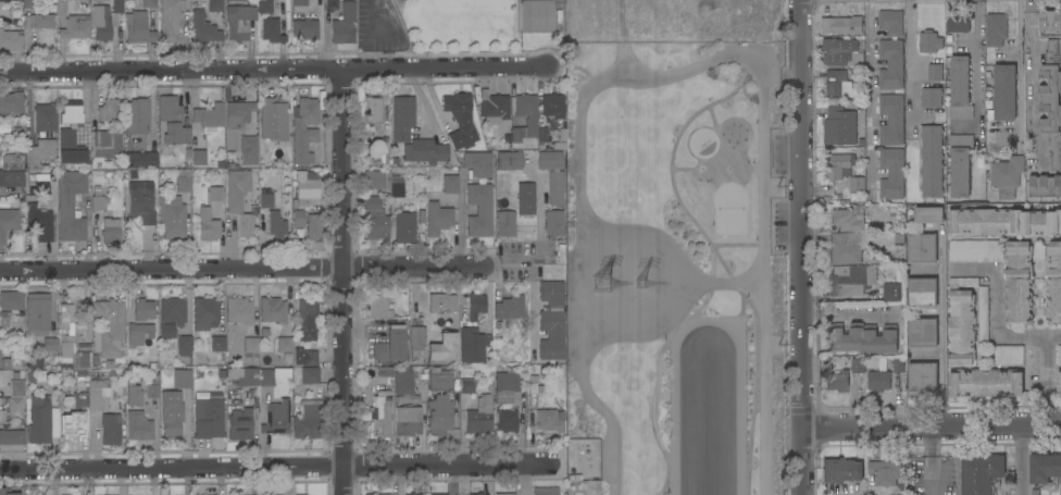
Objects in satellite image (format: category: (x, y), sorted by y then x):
building: (84, 0)
building: (61, 1)
building: (229, 2)
building: (30, 3)
building: (148, 3)
building: (332, 4)
building: (215, 5)
building: (264, 5)
building: (117, 7)
building: (299, 9)
building: (536, 15)
building: (692, 16)
building: (171, 18)
road: (375, 18)
building: (38, 21)
building: (1050, 21)
building: (239, 22)
building: (76, 23)
building: (890, 23)
building: (958, 23)
building: (344, 24)
building: (708, 24)
building: (105, 25)
park: (461, 25)
building: (841, 25)
building: (138, 28)
building: (203, 28)
building: (304, 29)
building: (996, 29)
building: (272, 30)
building: (10, 40)
building: (928, 42)
building: (838, 51)
road: (626, 58)
building: (890, 64)
road: (576, 65)
road: (447, 67)
road: (911, 69)
road: (171, 70)
road: (777, 70)
road: (1021, 72)
road: (978, 73)
road: (597, 84)
building: (839, 87)
building: (933, 88)
building: (960, 89)
building: (1004, 92)
road: (869, 97)
building: (1051, 102)
building: (11, 103)
building: (552, 106)
building: (492, 108)
building: (373, 110)
building: (108, 111)
building: (238, 113)
building: (45, 117)
building: (209, 117)
building: (402, 117)
building: (523, 119)
building: (273, 120)
building: (891, 120)
building: (461, 122)
building: (171, 123)
building: (839, 126)
building: (303, 129)
road: (715, 129)
building: (70, 134)
building: (138, 135)
building: (539, 137)
building: (107, 144)
building: (249, 150)
building: (425, 151)
building: (39, 154)
building: (199, 158)
building: (550, 160)
road: (701, 160)
building: (509, 161)
building: (932, 161)
building: (477, 163)
building: (959, 165)
road: (671, 166)
building: (840, 166)
road: (683, 169)
road: (712, 170)
road: (714, 172)
building: (891, 174)
building: (1006, 176)
building: (11, 178)
building: (374, 180)
building: (184, 181)
building: (450, 184)
building: (857, 184)
building: (39, 185)
building: (1045, 186)
building: (396, 187)
building: (305, 188)
building: (557, 188)
building: (237, 189)
building: (215, 194)
building: (264, 198)
building: (526, 198)
building: (98, 200)
building: (141, 201)
building: (71, 206)
building: (479, 209)
park: (729, 209)
building: (928, 215)
building: (172, 218)
building: (298, 219)
building: (374, 219)
building: (438, 219)
building: (9, 220)
building: (39, 221)
building: (847, 221)
building: (505, 223)
building: (553, 223)
building: (1003, 223)
building: (276, 224)
building: (245, 225)
building: (208, 226)
building: (313, 226)
building: (404, 227)
building: (110, 231)
building: (898, 238)
road: (737, 245)
road: (799, 247)
building: (847, 247)
building: (922, 248)
building: (975, 251)
road: (712, 264)
road: (629, 265)
road: (415, 268)
road: (971, 268)
road: (172, 269)
park: (673, 269)
building: (850, 280)
road: (345, 282)
road: (764, 282)
building: (1053, 282)
building: (963, 283)
building: (1019, 283)
power tower: (607, 284)
power tower: (650, 284)
road: (721, 285)
road: (581, 289)
building: (891, 293)
building: (922, 293)
road: (998, 299)
building: (11, 300)
building: (442, 302)
building: (475, 306)
building: (378, 307)
road: (741, 308)
building: (142, 310)
building: (272, 310)
building: (510, 310)
road: (629, 310)
building: (172, 311)
building: (239, 311)
building: (204, 313)
road: (847, 313)
building: (37, 314)
building: (983, 315)
building: (305, 320)
building: (551, 321)
road: (943, 327)
building: (961, 327)
building: (109, 329)
building: (71, 331)
building: (166, 331)
track: (739, 332)
road: (1029, 332)
building: (139, 333)
building: (922, 333)
building: (863, 338)
building: (416, 341)
building: (217, 344)
building: (284, 344)
building: (50, 345)
building: (184, 345)
building: (390, 345)
building: (472, 346)
building: (251, 347)
building: (444, 347)
building: (0, 351)
building: (0, 355)
building: (1059, 355)
building: (1008, 356)
building: (305, 357)
building: (83, 360)
building: (0, 363)
building: (5, 363)
building: (32, 364)
building: (858, 366)
building: (898, 366)
track: (675, 374)
building: (16, 375)
building: (310, 375)
building: (244, 376)
building: (266, 378)
building: (922, 378)
building: (182, 379)
road: (1037, 380)
building: (439, 381)
building: (466, 381)
building: (878, 381)
building: (838, 382)
building: (403, 383)
road: (657, 383)
building: (987, 383)
building: (1059, 384)
building: (505, 385)
road: (756, 386)
building: (16, 388)
building: (152, 388)
building: (133, 394)
building: (97, 395)
building: (79, 397)
building: (15, 407)
road: (603, 411)
building: (172, 413)
building: (438, 414)
building: (3, 416)
building: (380, 416)
building: (479, 416)
building: (40, 417)
building: (208, 418)
building: (276, 418)
building: (308, 420)
building: (507, 420)
track: (739, 420)
building: (407, 421)
building: (550, 421)
building: (240, 424)
building: (72, 425)
building: (138, 426)
road: (931, 429)
building: (110, 430)
building: (11, 437)
building: (583, 459)
road: (935, 461)
road: (1022, 461)
road: (451, 466)
road: (173, 467)
building: (1044, 468)
building: (840, 470)
building: (885, 472)
building: (981, 473)
building: (1, 491)
building: (545, 491)
building: (1060, 491)
building: (1035, 492)
building: (374, 494)
building: (386, 494)
building: (412, 494)
building: (437, 494)
building: (478, 494)
building: (504, 494)

